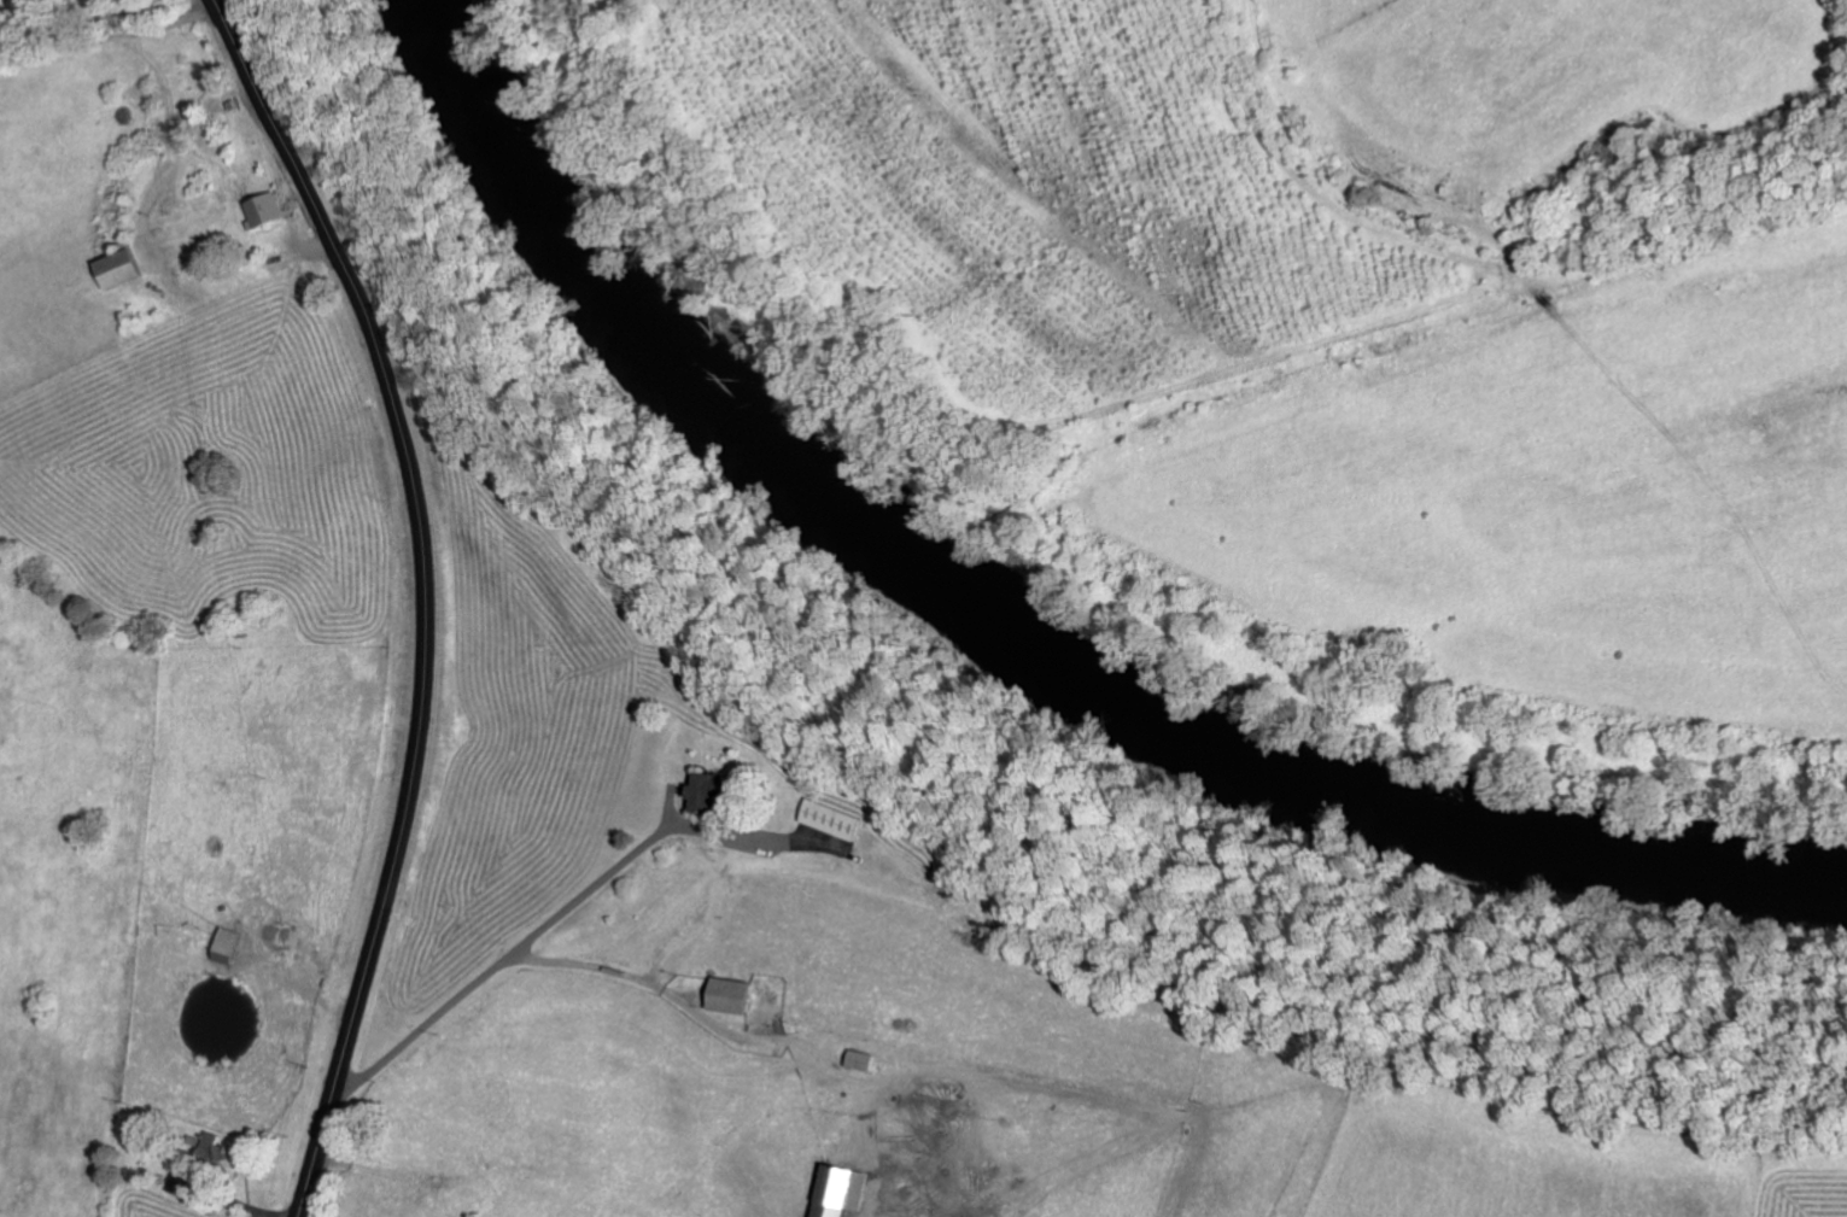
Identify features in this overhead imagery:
building: (262, 207)
building: (113, 268)
road: (422, 596)
river: (1019, 614)
building: (702, 791)
building: (830, 819)
road: (518, 874)
building: (222, 944)
building: (725, 995)
building: (857, 1059)
building: (216, 1154)
building: (835, 1190)

